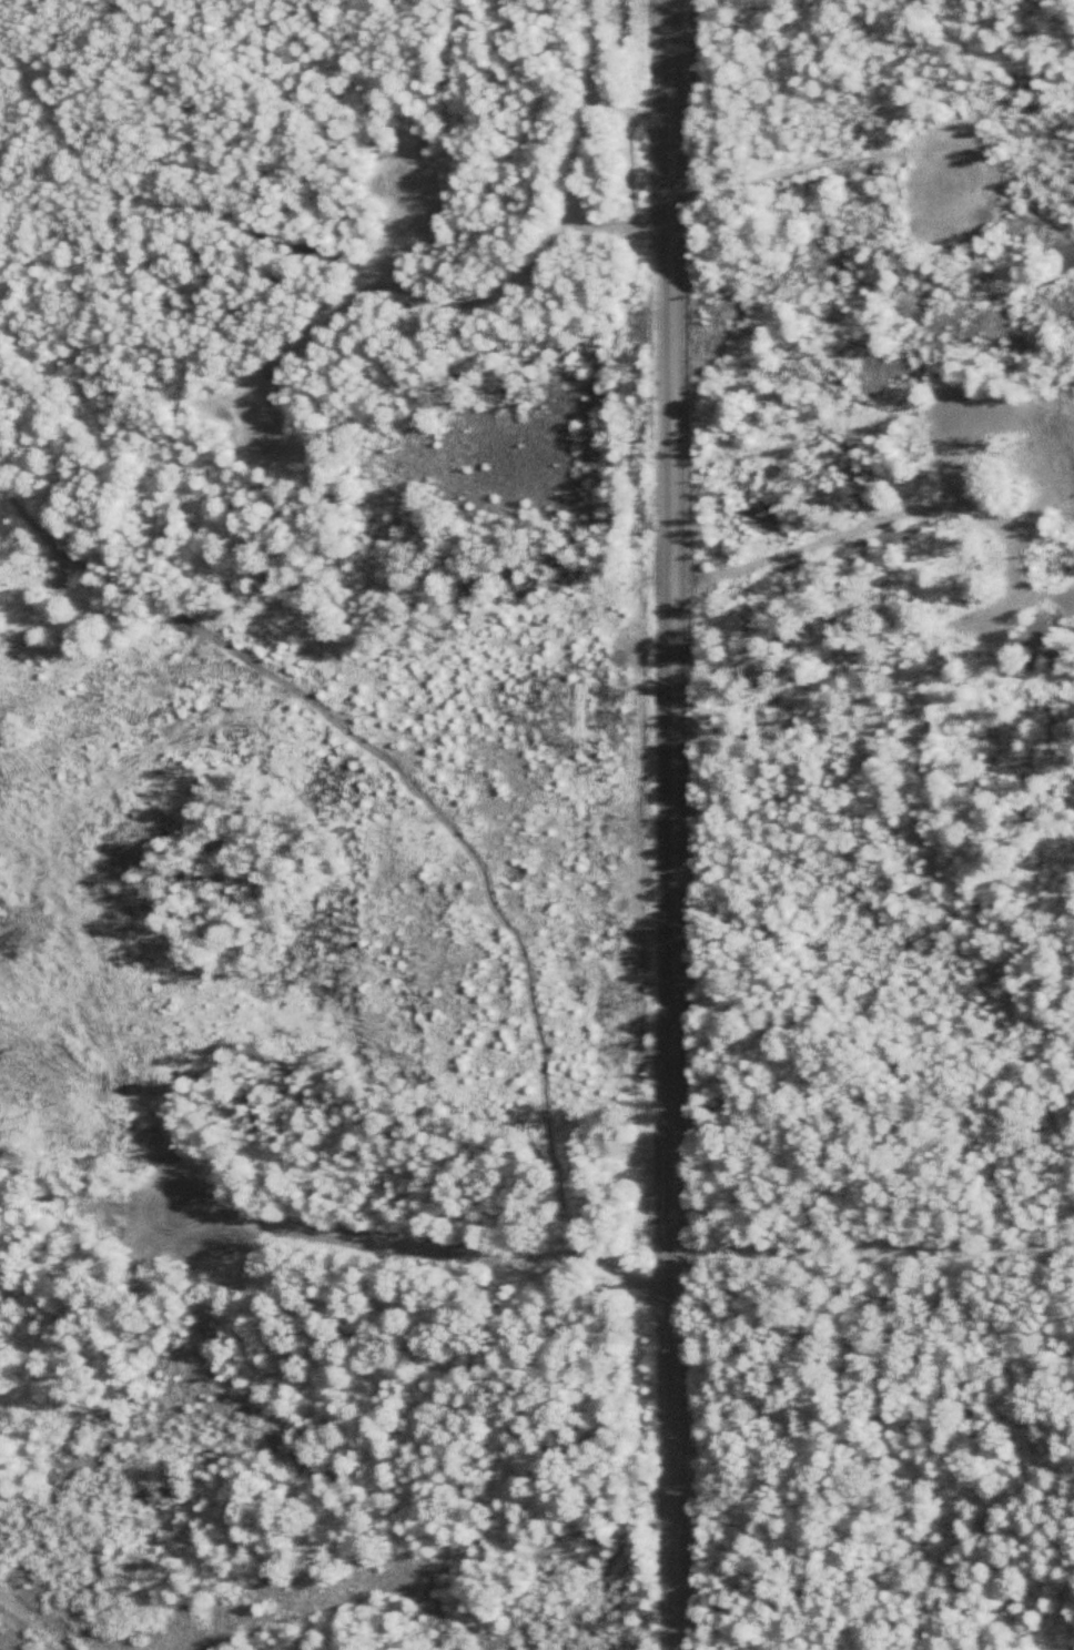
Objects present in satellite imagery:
road: (678, 824)

